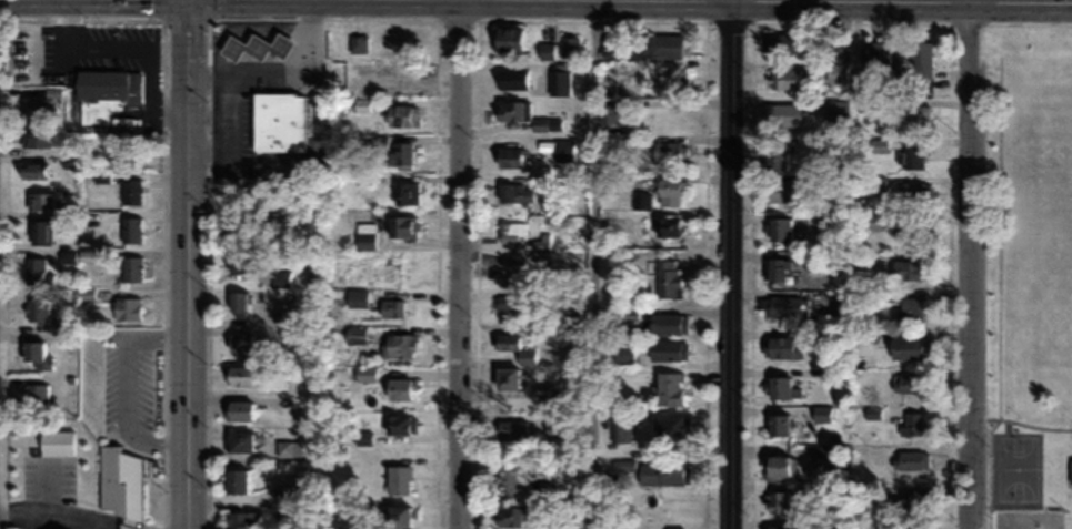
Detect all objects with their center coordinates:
road: (1019, 0)
building: (507, 38)
building: (358, 42)
building: (781, 43)
building: (257, 45)
building: (569, 45)
building: (655, 45)
building: (609, 47)
building: (875, 52)
building: (918, 60)
building: (836, 62)
building: (544, 70)
building: (668, 74)
building: (512, 77)
building: (784, 78)
building: (109, 84)
building: (362, 104)
building: (39, 108)
building: (512, 109)
building: (612, 112)
building: (838, 112)
building: (784, 113)
building: (400, 114)
building: (912, 115)
building: (278, 120)
building: (540, 123)
building: (37, 138)
building: (816, 147)
building: (564, 150)
building: (668, 151)
building: (403, 154)
building: (509, 156)
building: (777, 156)
building: (910, 156)
building: (34, 170)
building: (132, 191)
building: (669, 191)
building: (781, 191)
building: (911, 191)
building: (407, 192)
building: (40, 201)
building: (68, 211)
building: (637, 224)
building: (668, 224)
building: (401, 225)
building: (780, 227)
building: (131, 228)
building: (241, 228)
building: (512, 228)
building: (913, 230)
building: (43, 231)
building: (363, 240)
building: (239, 262)
building: (812, 262)
road: (190, 264)
road: (459, 264)
road: (593, 264)
road: (731, 264)
road: (966, 264)
building: (131, 268)
building: (777, 268)
building: (908, 269)
building: (37, 271)
building: (508, 272)
building: (282, 278)
building: (669, 278)
building: (358, 298)
building: (238, 301)
building: (841, 302)
building: (511, 304)
building: (781, 306)
building: (391, 307)
building: (912, 307)
building: (127, 308)
building: (37, 309)
building: (283, 318)
building: (668, 323)
building: (239, 345)
building: (398, 345)
building: (514, 346)
building: (909, 346)
building: (782, 347)
building: (668, 349)
building: (624, 352)
building: (38, 355)
building: (239, 375)
building: (507, 377)
building: (906, 383)
building: (399, 387)
building: (669, 388)
building: (781, 388)
building: (37, 394)
building: (239, 410)
building: (821, 413)
building: (914, 423)
building: (397, 424)
building: (778, 425)
building: (621, 426)
building: (668, 426)
building: (513, 429)
building: (363, 437)
building: (239, 440)
building: (289, 448)
building: (822, 457)
building: (913, 459)
building: (624, 465)
building: (777, 468)
building: (553, 470)
building: (1070, 470)
building: (663, 472)
building: (510, 478)
building: (399, 479)
building: (237, 480)
building: (120, 485)
building: (823, 490)
building: (866, 490)
building: (911, 499)
building: (777, 500)
building: (397, 515)
building: (508, 515)
building: (240, 520)
building: (778, 526)
building: (915, 526)

